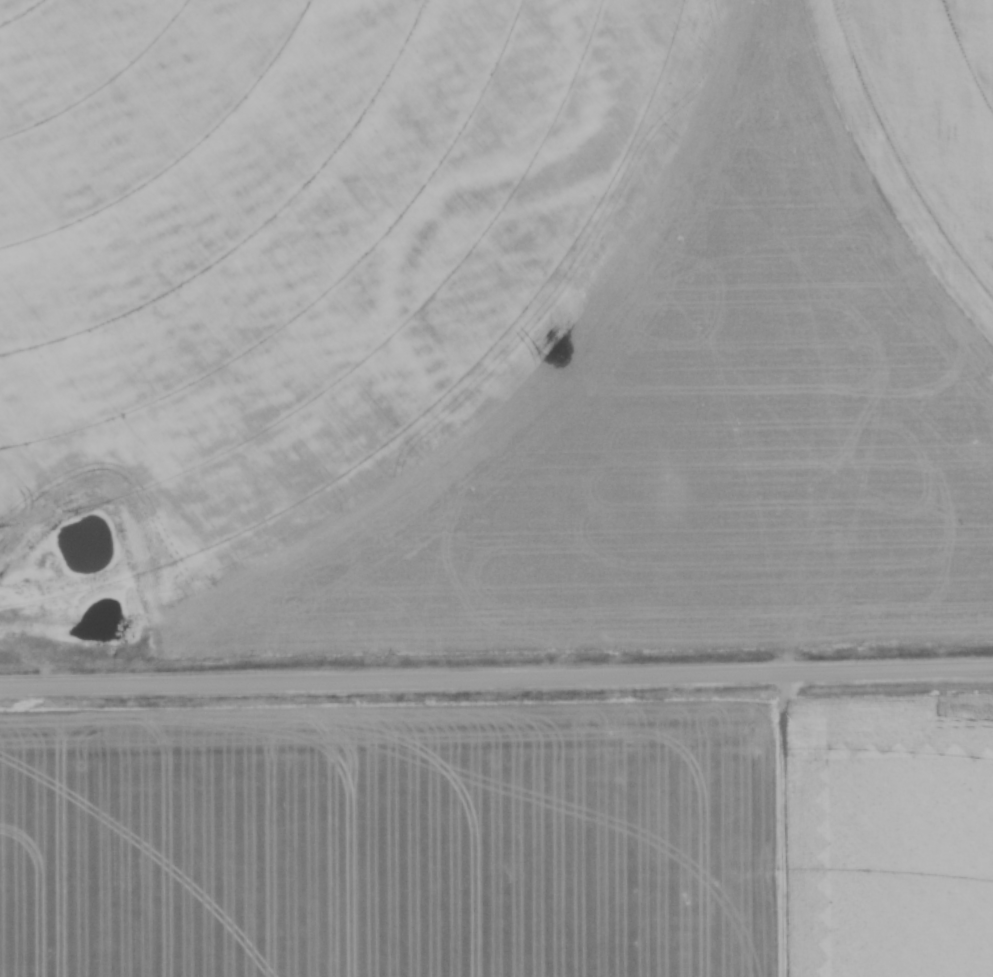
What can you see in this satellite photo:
road: (496, 682)

